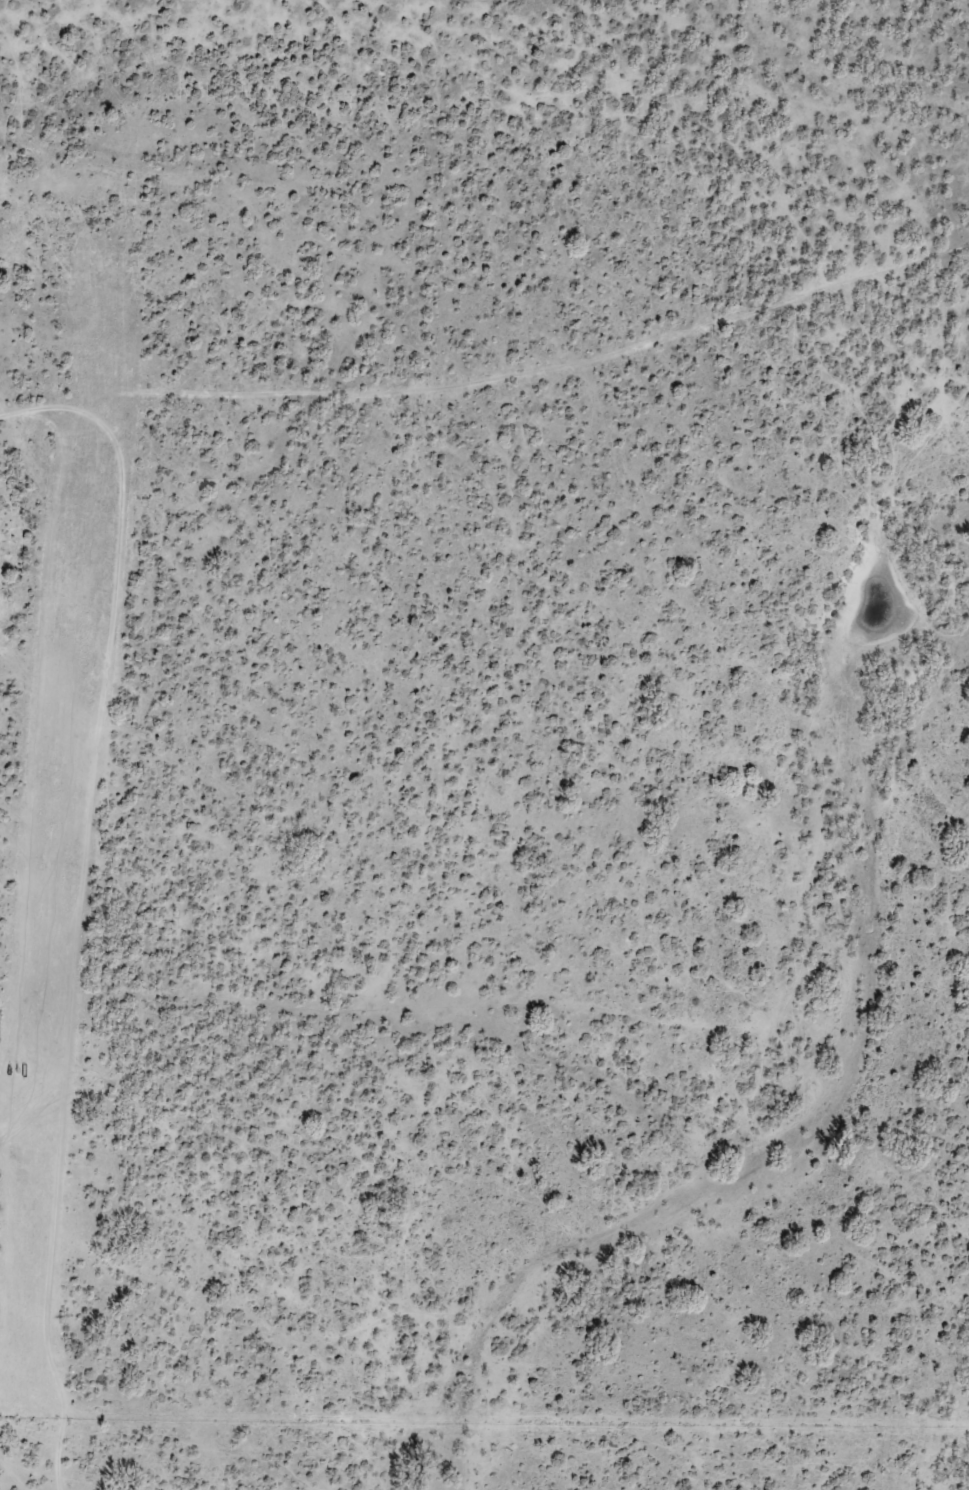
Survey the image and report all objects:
road: (492, 393)
road: (966, 646)
road: (32, 1341)

